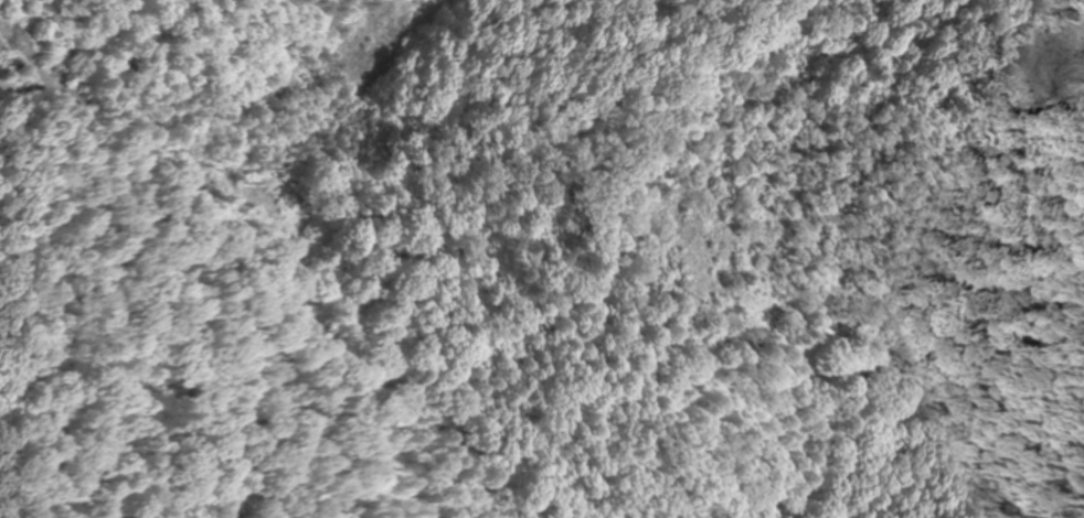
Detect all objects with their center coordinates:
road: (521, 235)

